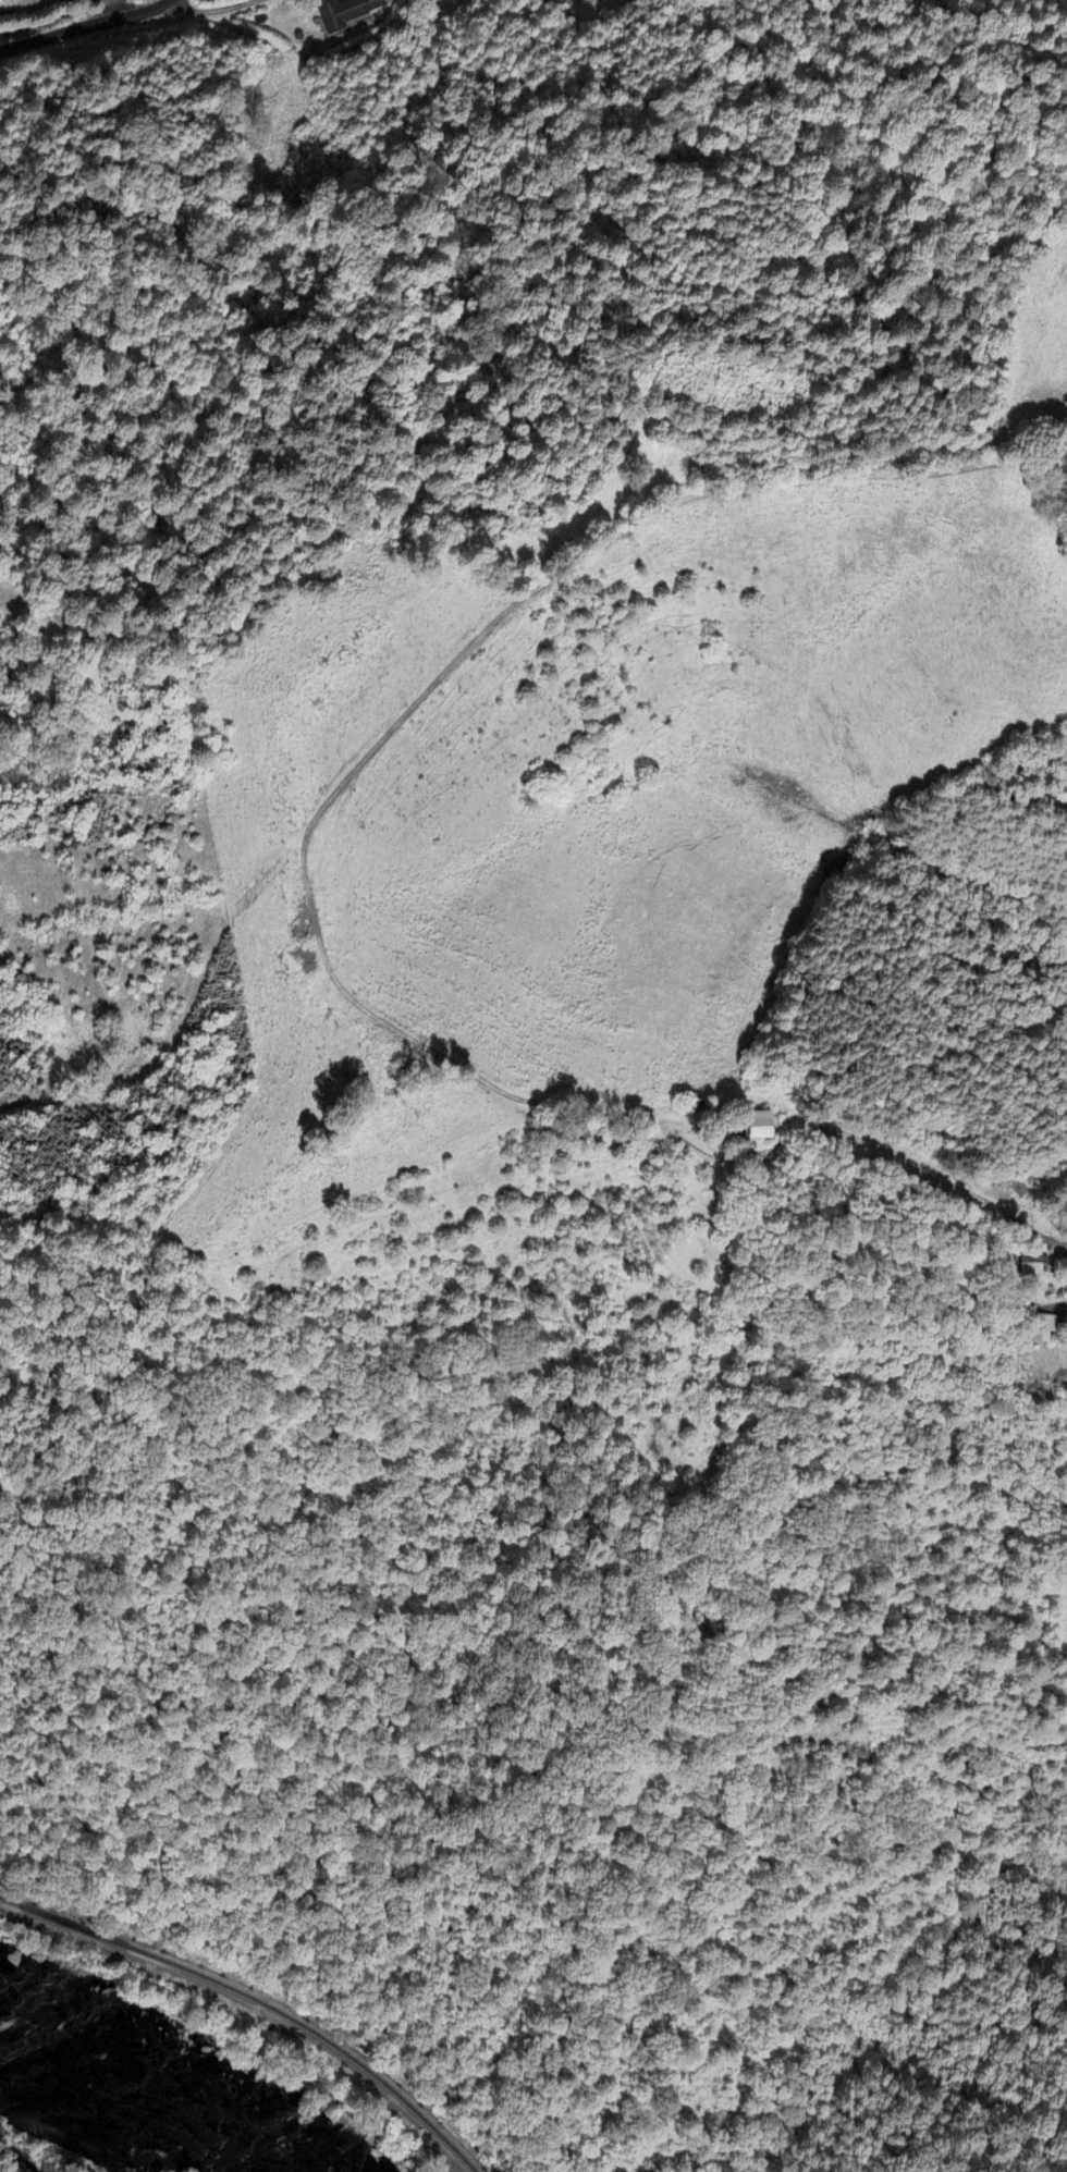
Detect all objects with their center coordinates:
building: (346, 13)
road: (85, 25)
building: (1037, 1268)
building: (1051, 1330)
railway: (257, 2001)
river: (140, 2108)
road: (15, 2160)

